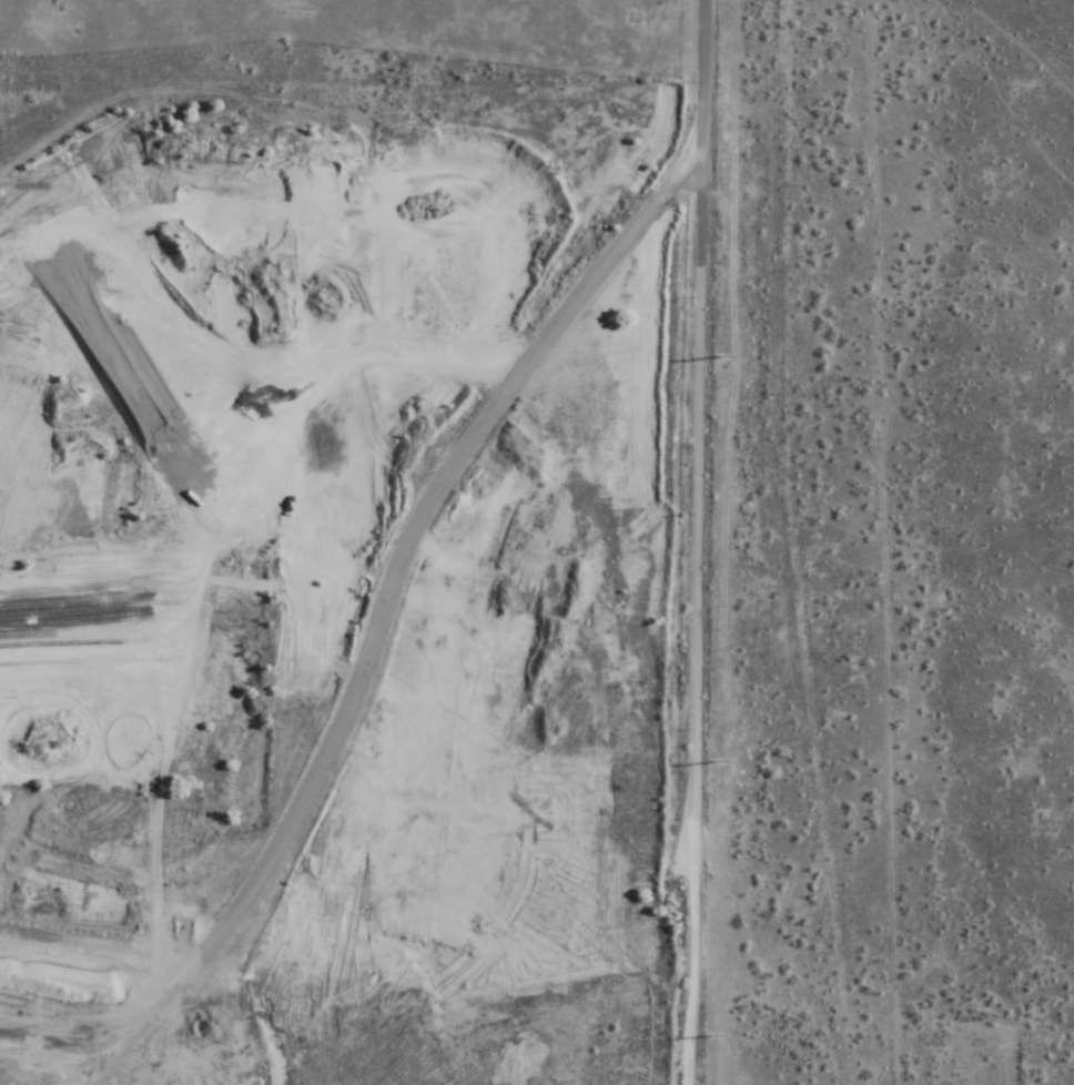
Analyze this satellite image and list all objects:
road: (697, 129)
power tower: (719, 356)
power tower: (713, 761)

